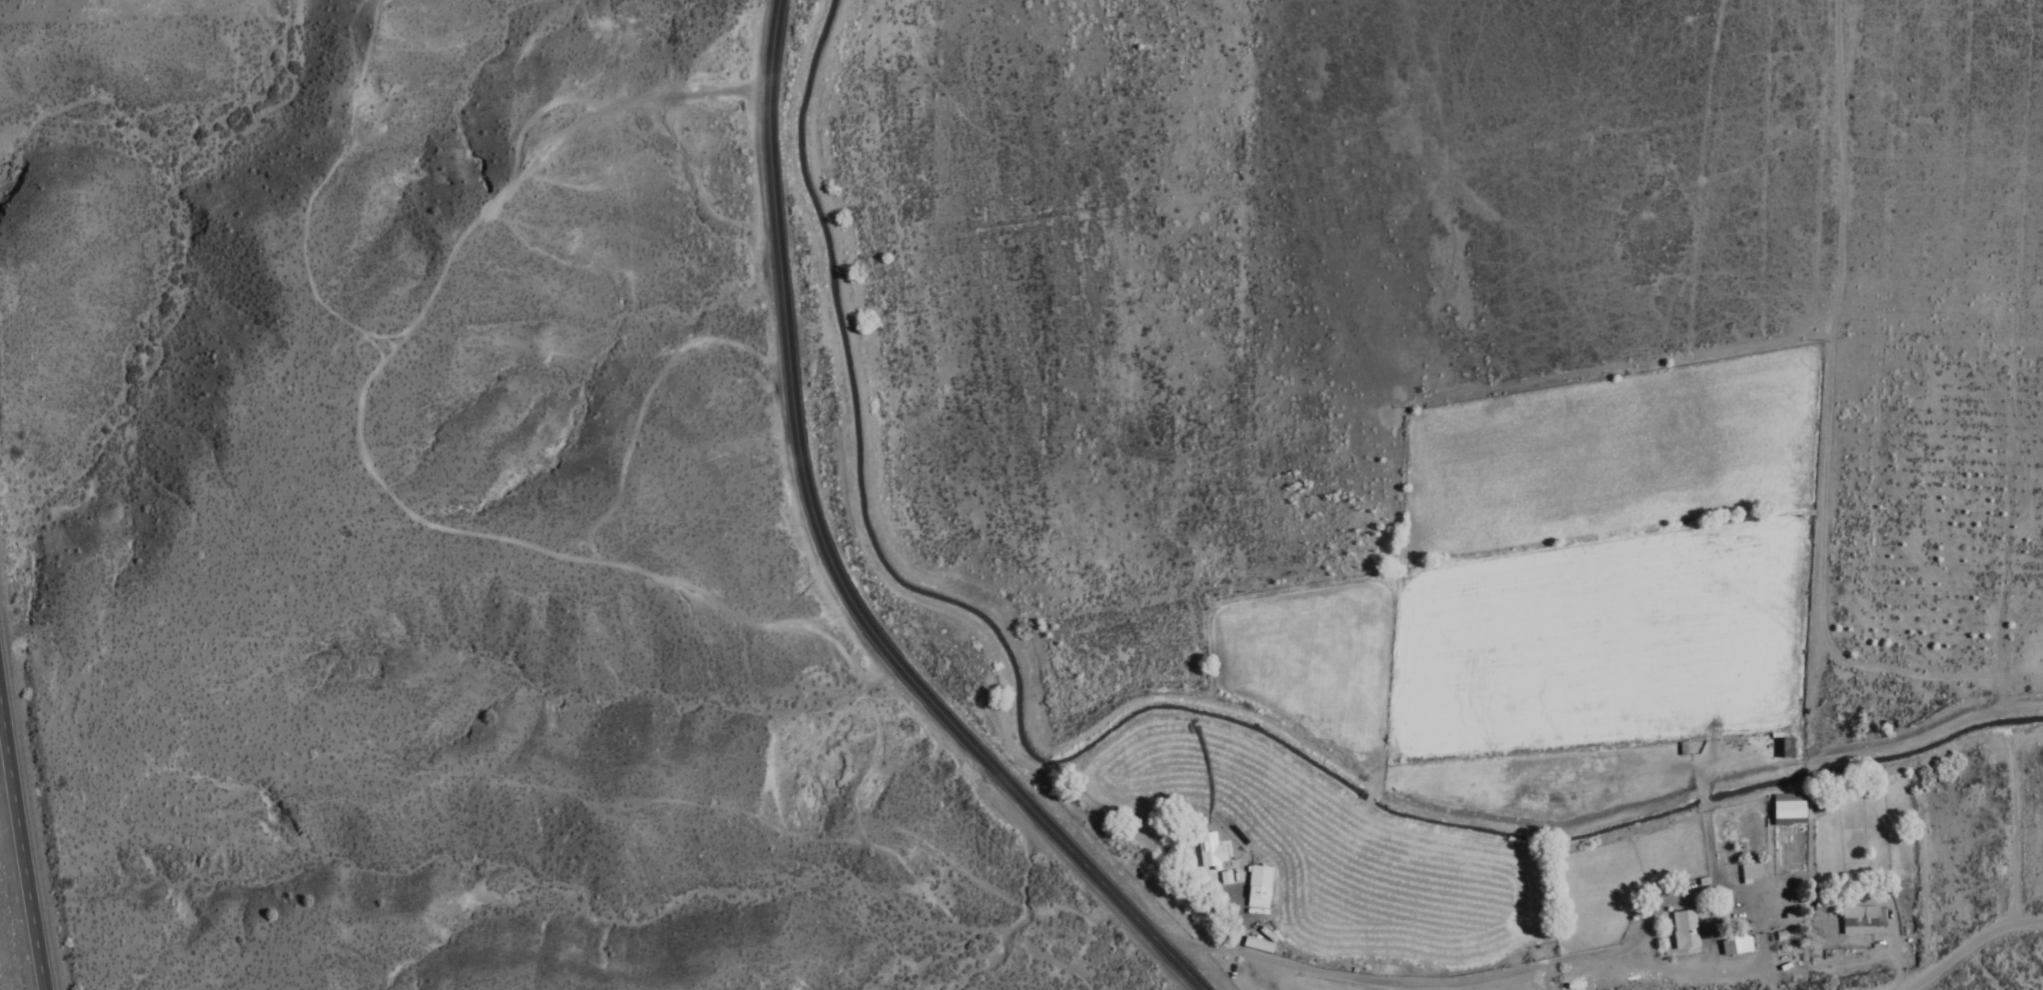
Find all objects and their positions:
road: (819, 317)
road: (819, 561)
road: (1134, 703)
building: (1782, 750)
road: (21, 851)
building: (1206, 853)
building: (1746, 873)
building: (1256, 878)
building: (1859, 921)
building: (1680, 931)
road: (1969, 947)
building: (1731, 948)
road: (1463, 982)

